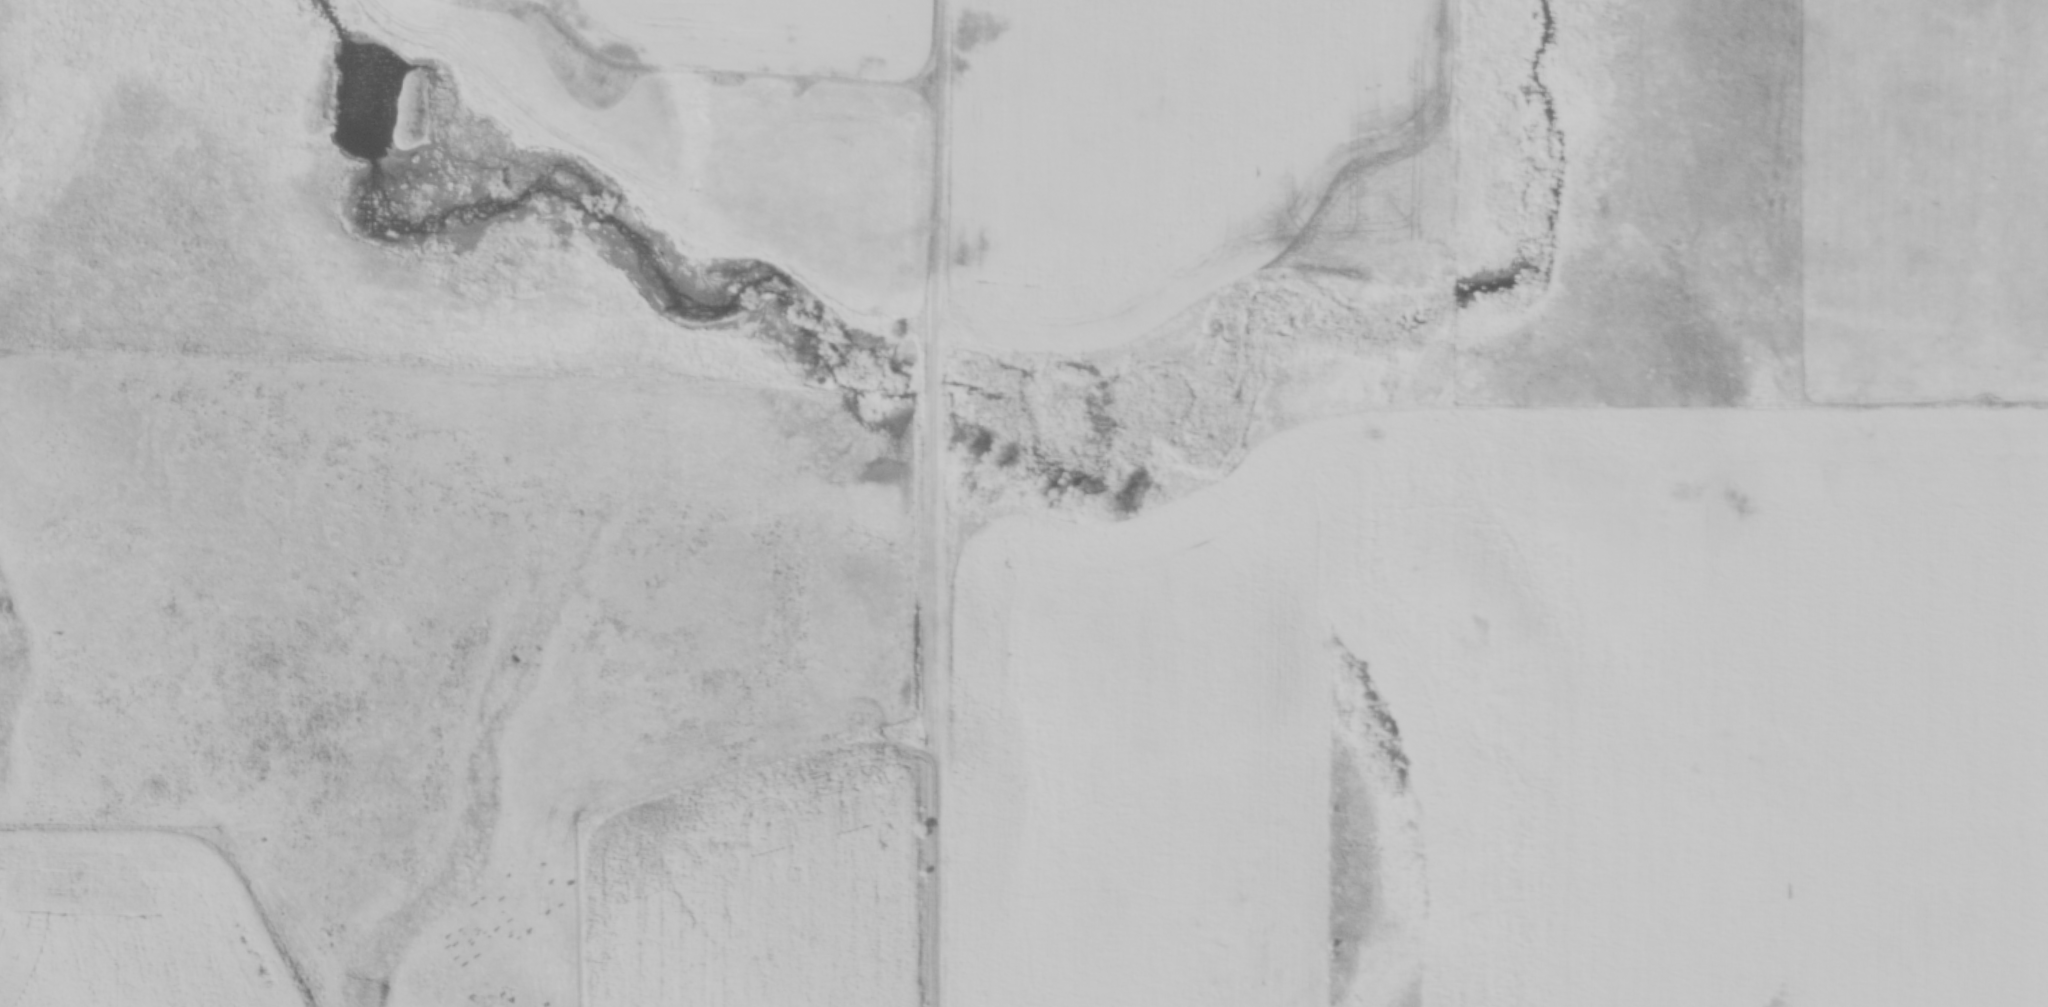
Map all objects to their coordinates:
road: (957, 503)

